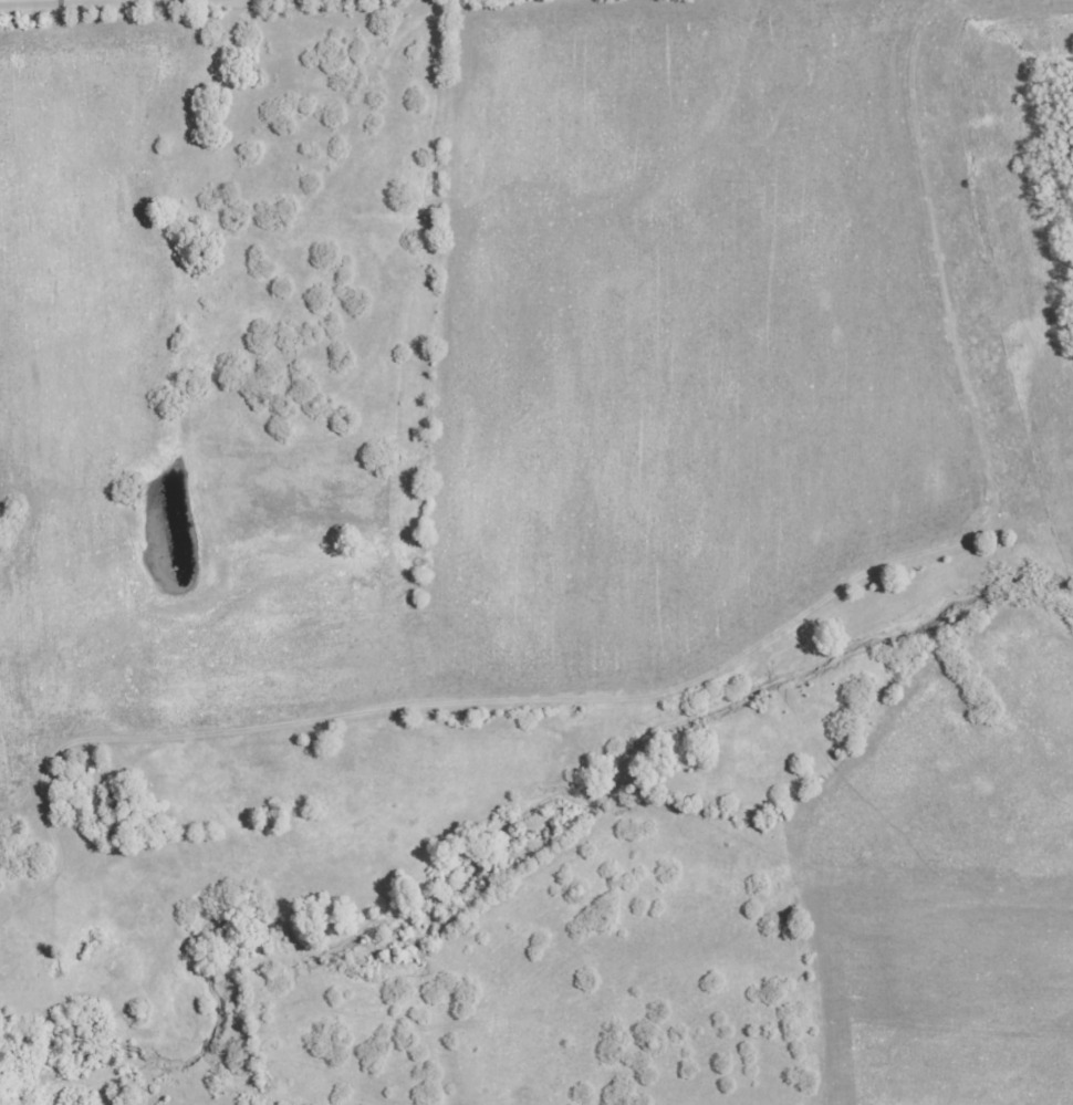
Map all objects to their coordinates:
road: (848, 584)

